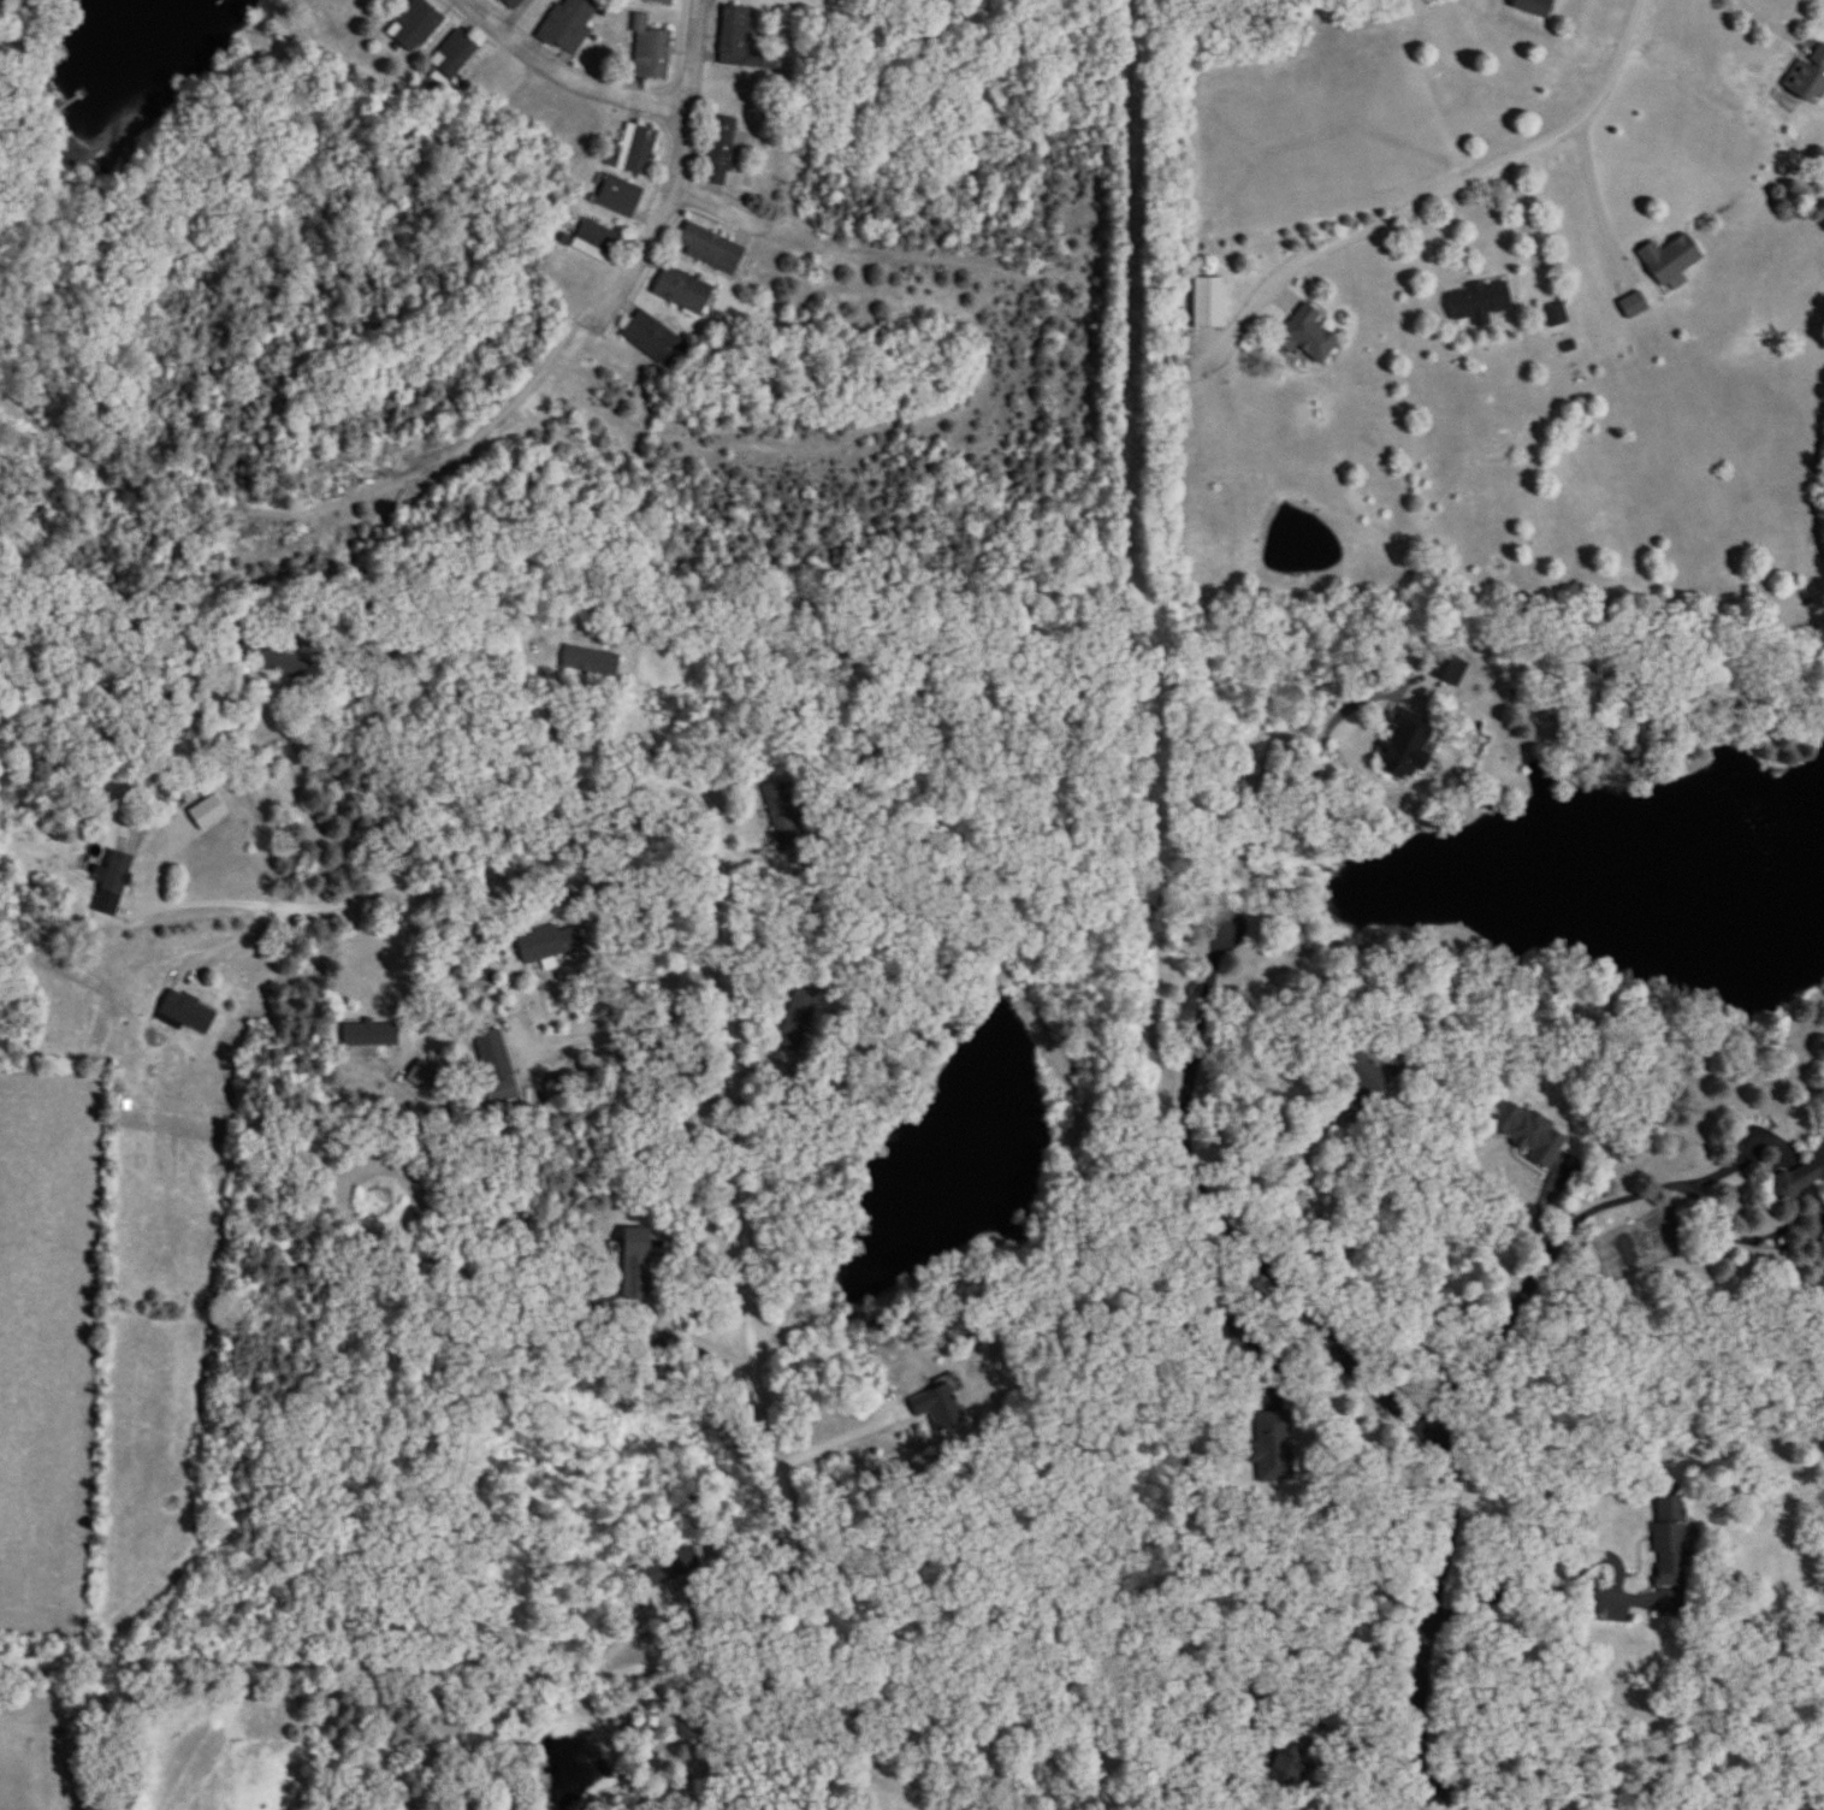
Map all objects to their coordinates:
building: (541, 0)
building: (511, 2)
building: (661, 2)
building: (1533, 7)
road: (1783, 16)
building: (414, 24)
building: (570, 25)
building: (734, 32)
road: (693, 49)
building: (650, 51)
building: (454, 54)
road: (563, 71)
building: (1808, 76)
building: (636, 148)
building: (719, 150)
road: (1438, 189)
building: (618, 195)
road: (1594, 202)
road: (663, 213)
road: (741, 215)
road: (1527, 224)
building: (596, 241)
building: (711, 248)
building: (1669, 258)
building: (683, 290)
building: (1208, 302)
building: (1479, 302)
building: (1554, 314)
building: (1309, 333)
building: (655, 339)
road: (495, 410)
road: (173, 497)
building: (244, 643)
building: (590, 661)
building: (286, 664)
road: (555, 712)
building: (1405, 744)
road: (700, 783)
road: (280, 785)
building: (782, 814)
road: (339, 844)
building: (114, 873)
building: (546, 942)
building: (186, 1011)
road: (649, 1019)
building: (796, 1021)
building: (369, 1034)
building: (495, 1055)
building: (1361, 1072)
road: (1346, 1129)
building: (1532, 1136)
building: (1800, 1175)
road: (582, 1191)
road: (356, 1208)
road: (1539, 1249)
road: (1255, 1253)
building: (634, 1262)
road: (692, 1330)
building: (932, 1407)
road: (840, 1438)
building: (1670, 1542)
road: (1559, 1560)
building: (669, 1568)
road: (772, 1580)
road: (1336, 1716)

